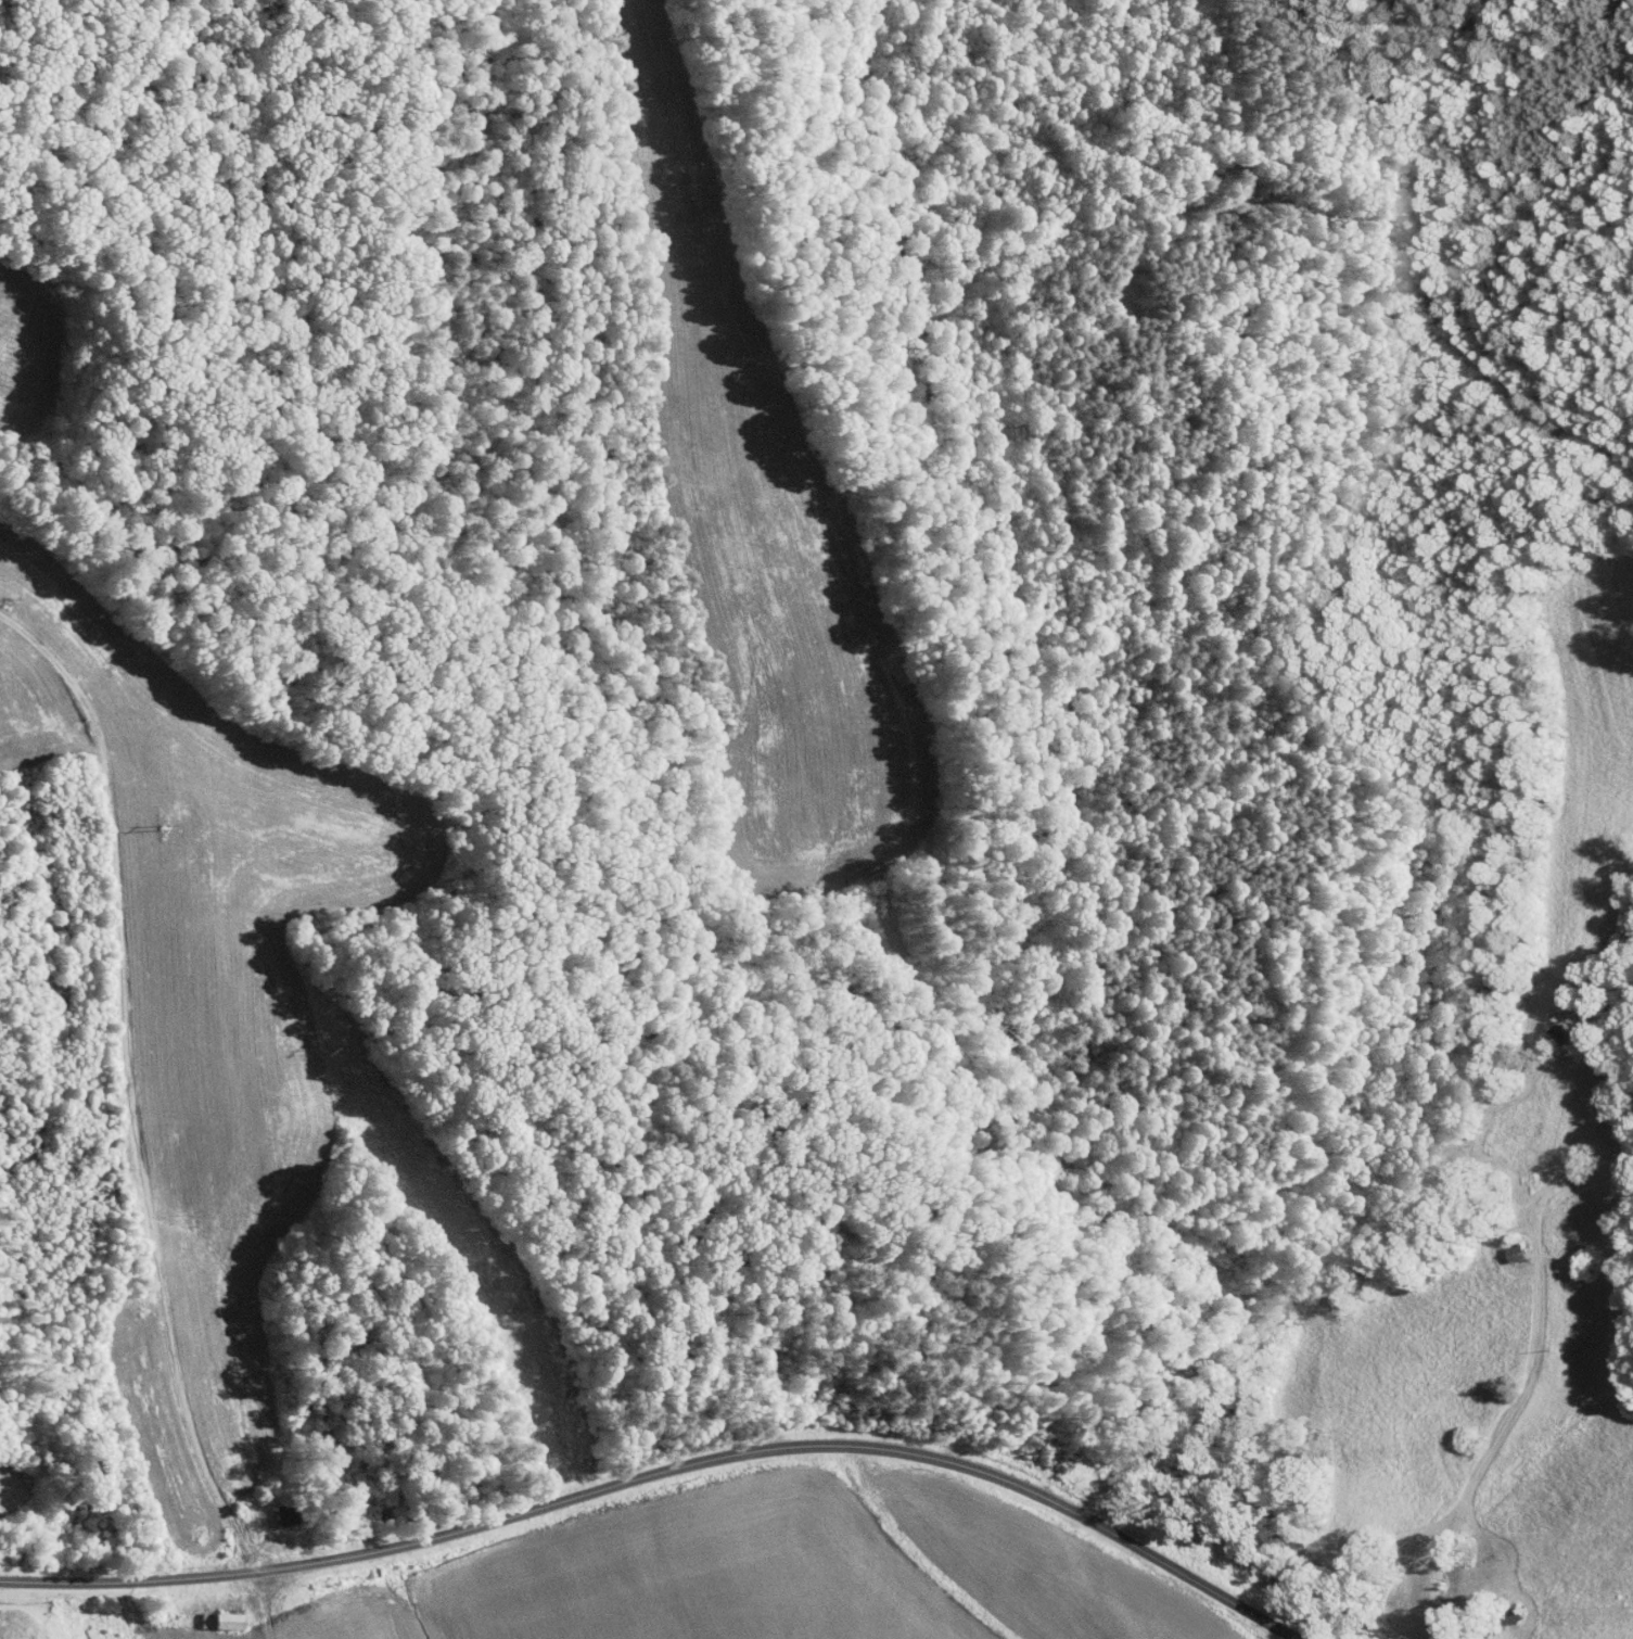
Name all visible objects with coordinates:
building: (1548, 1021)
building: (1507, 1247)
road: (664, 1471)
building: (272, 1508)
building: (209, 1614)

